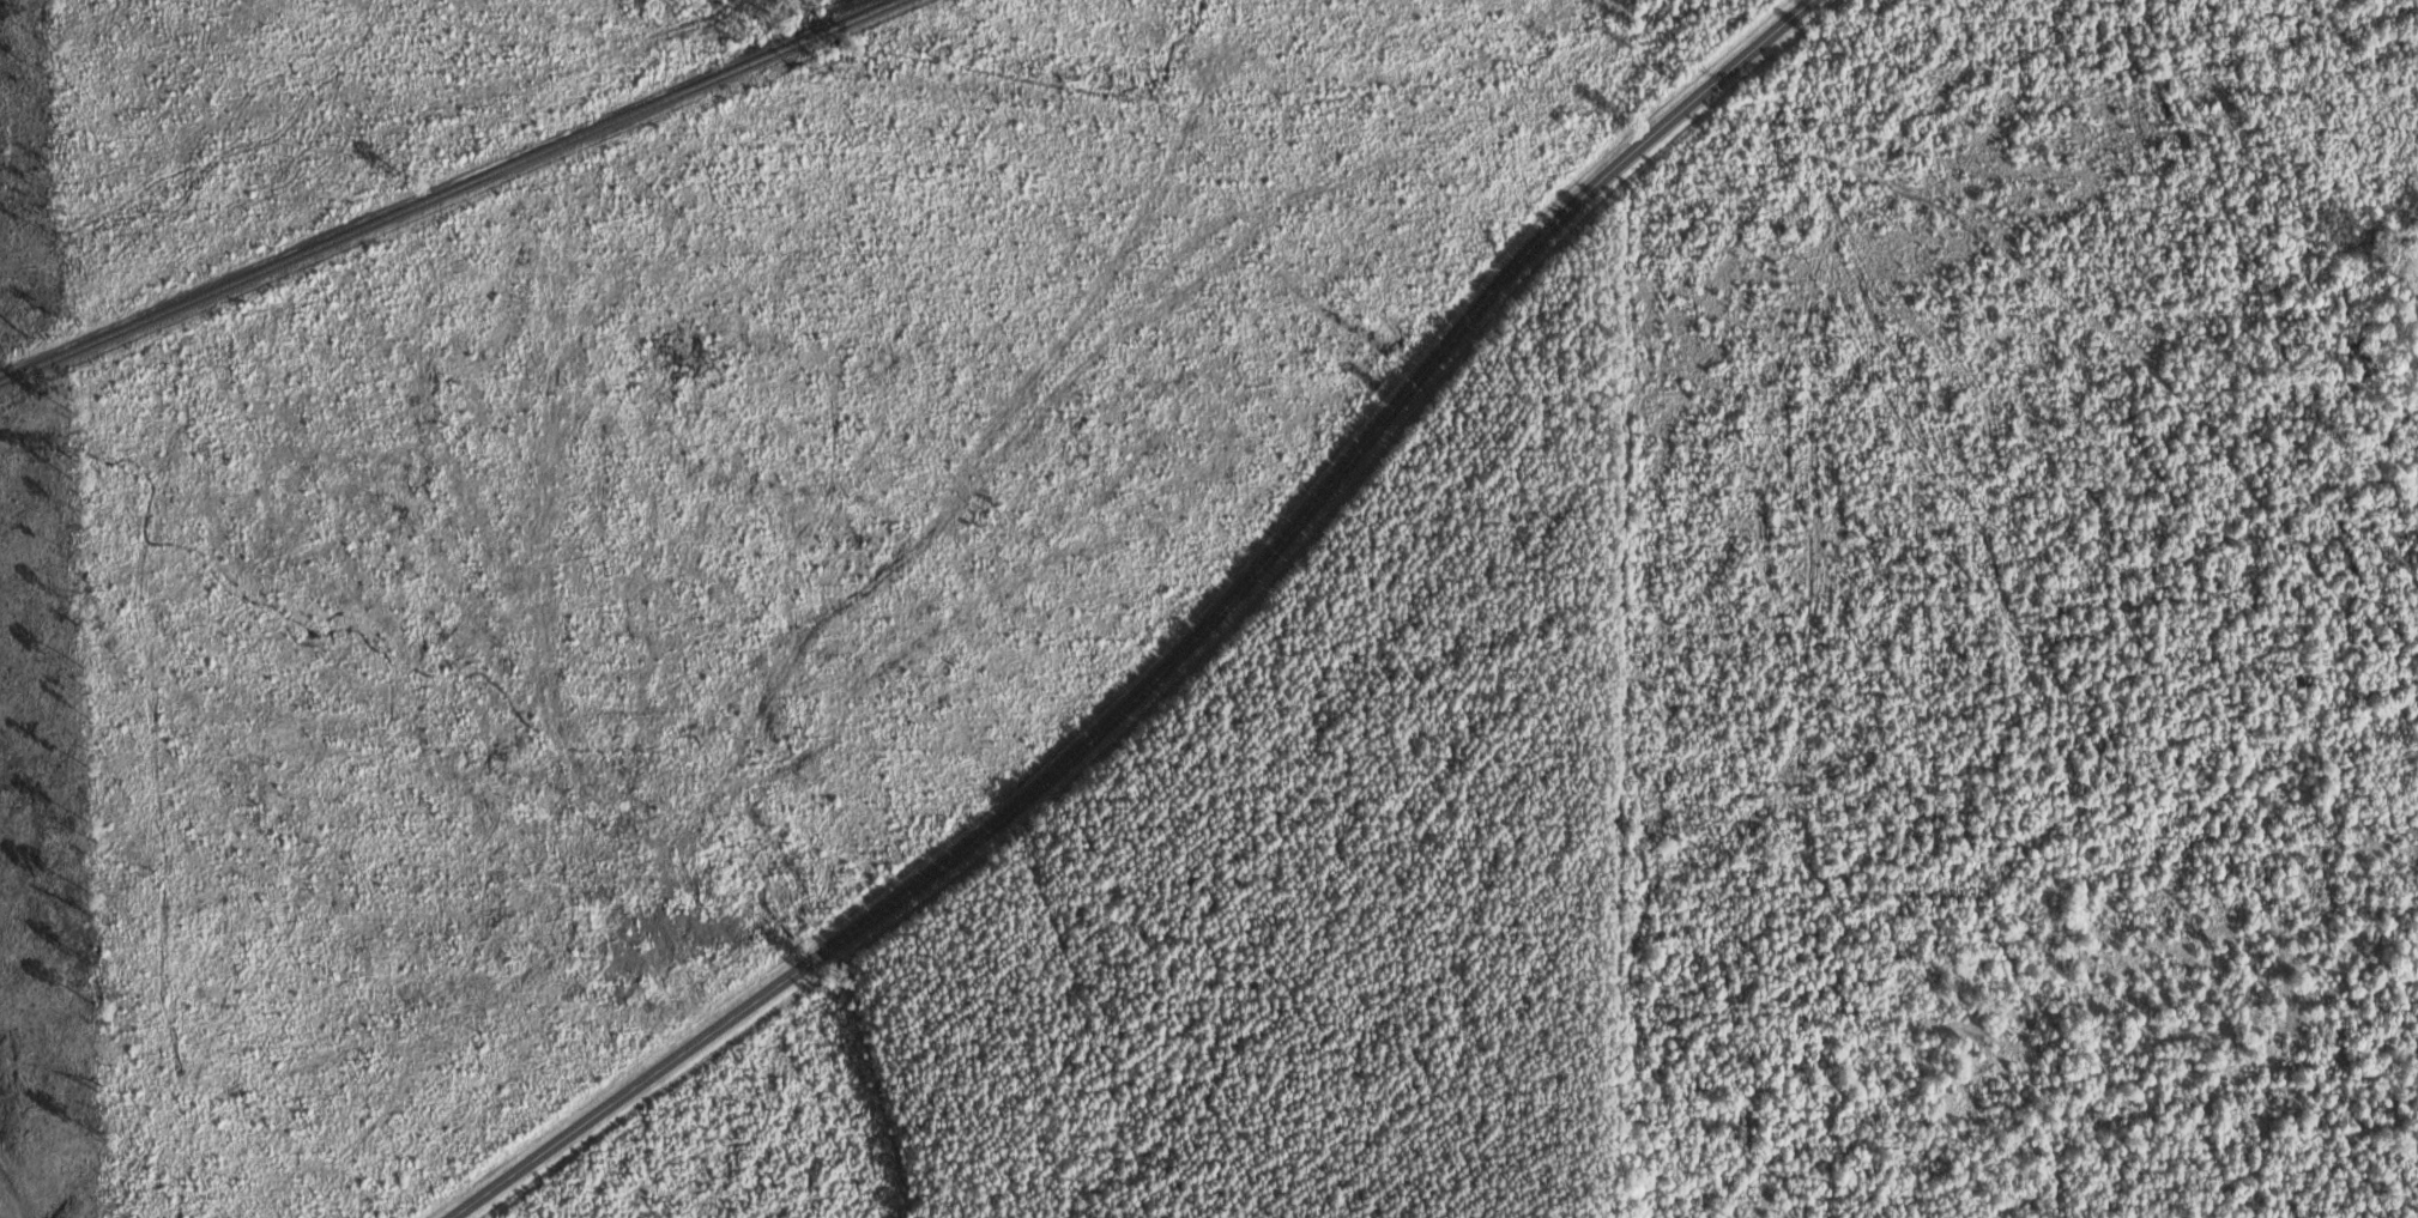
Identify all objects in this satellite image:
railway: (461, 196)
road: (1181, 662)

